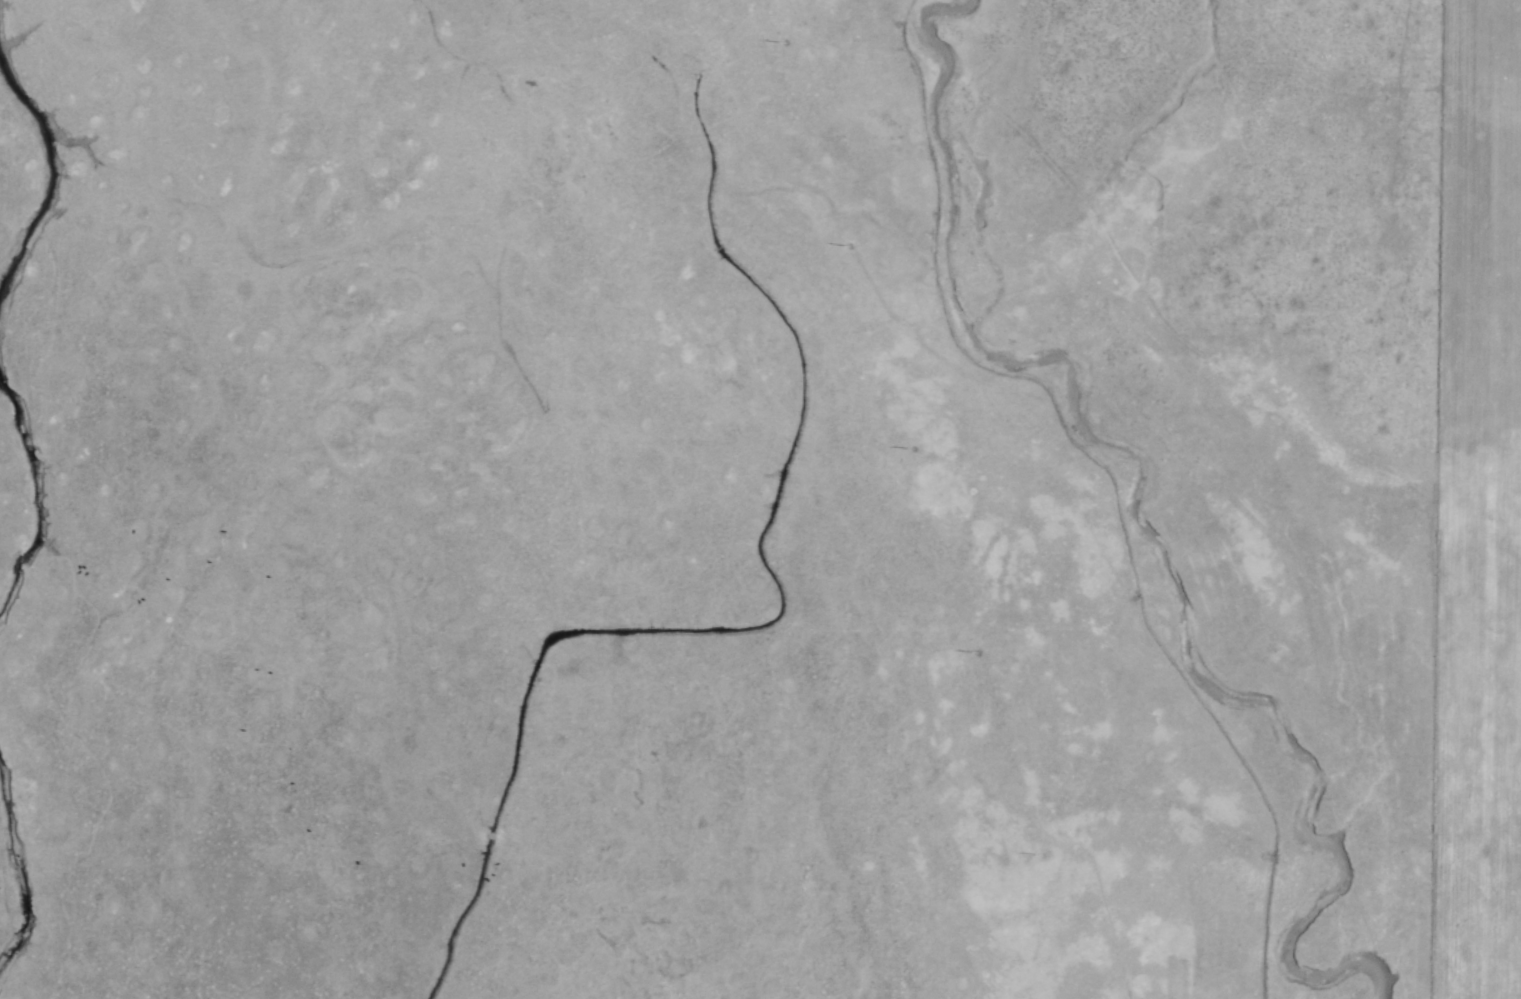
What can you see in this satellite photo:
crop: (760, 499)

